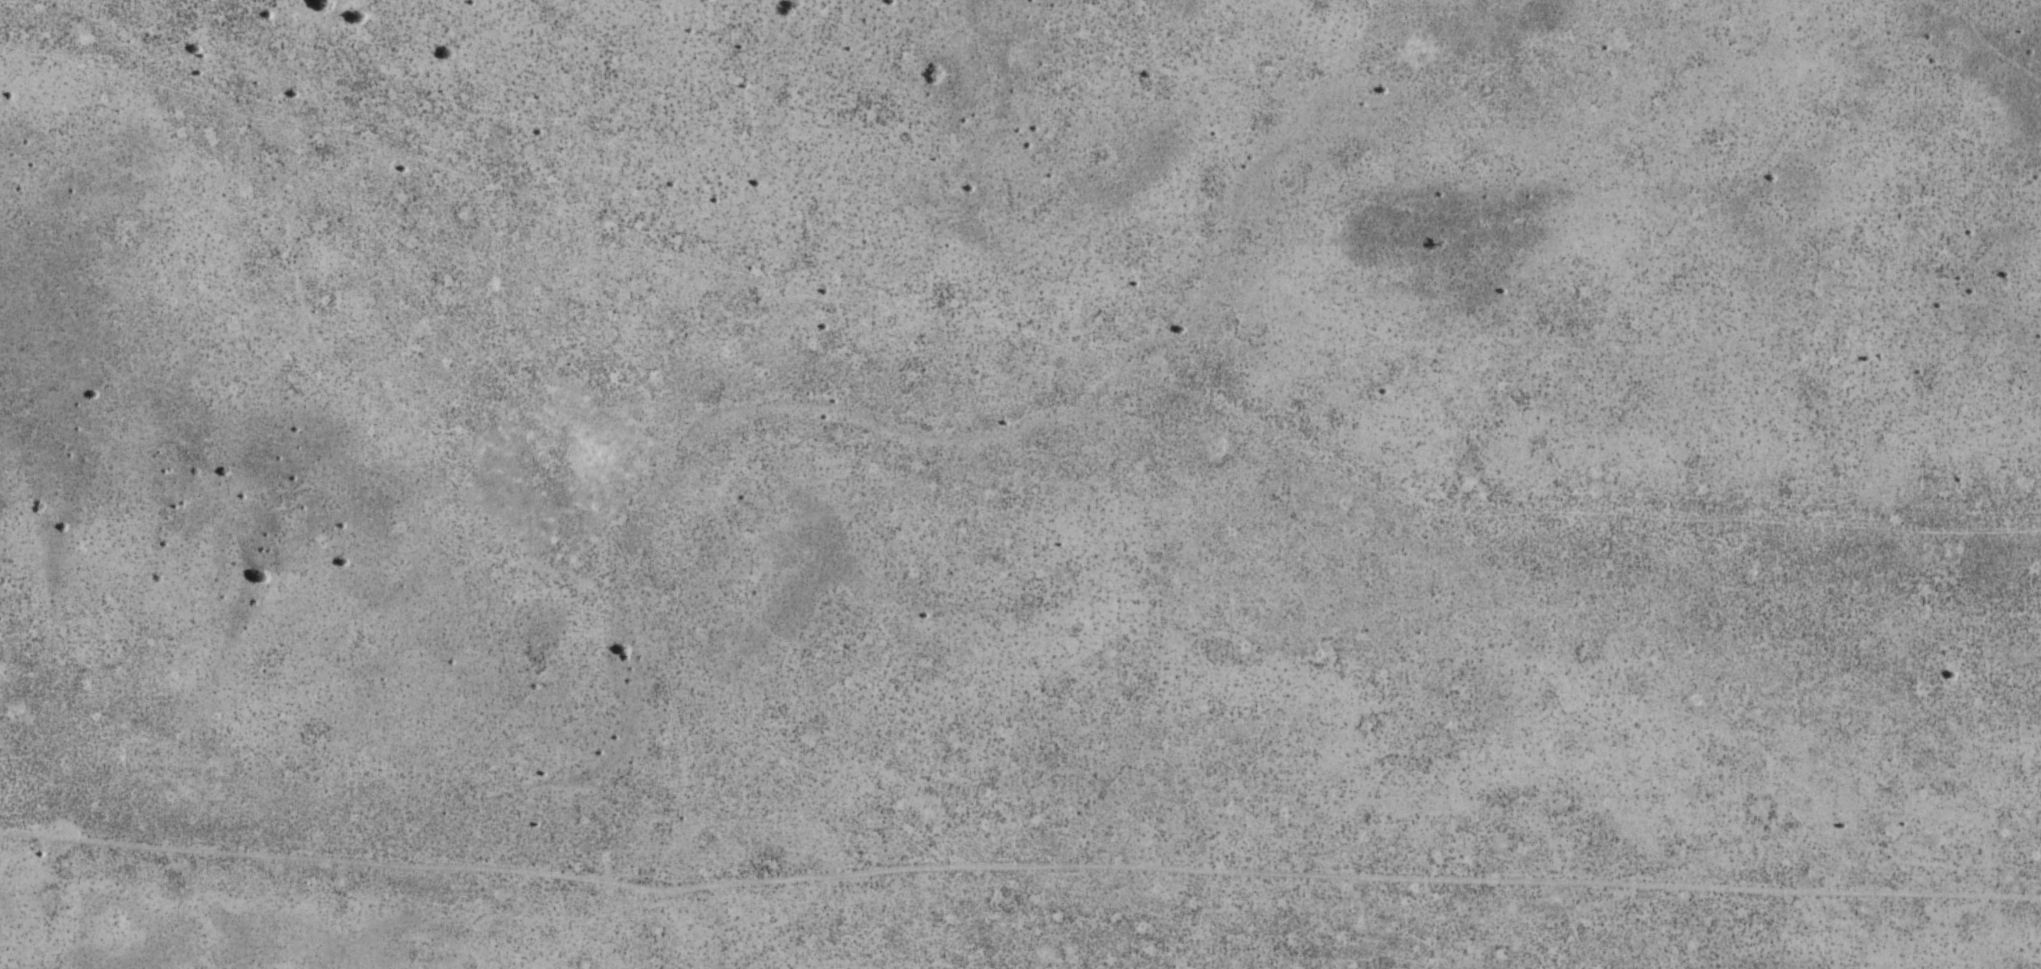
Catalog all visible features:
road: (1020, 872)

